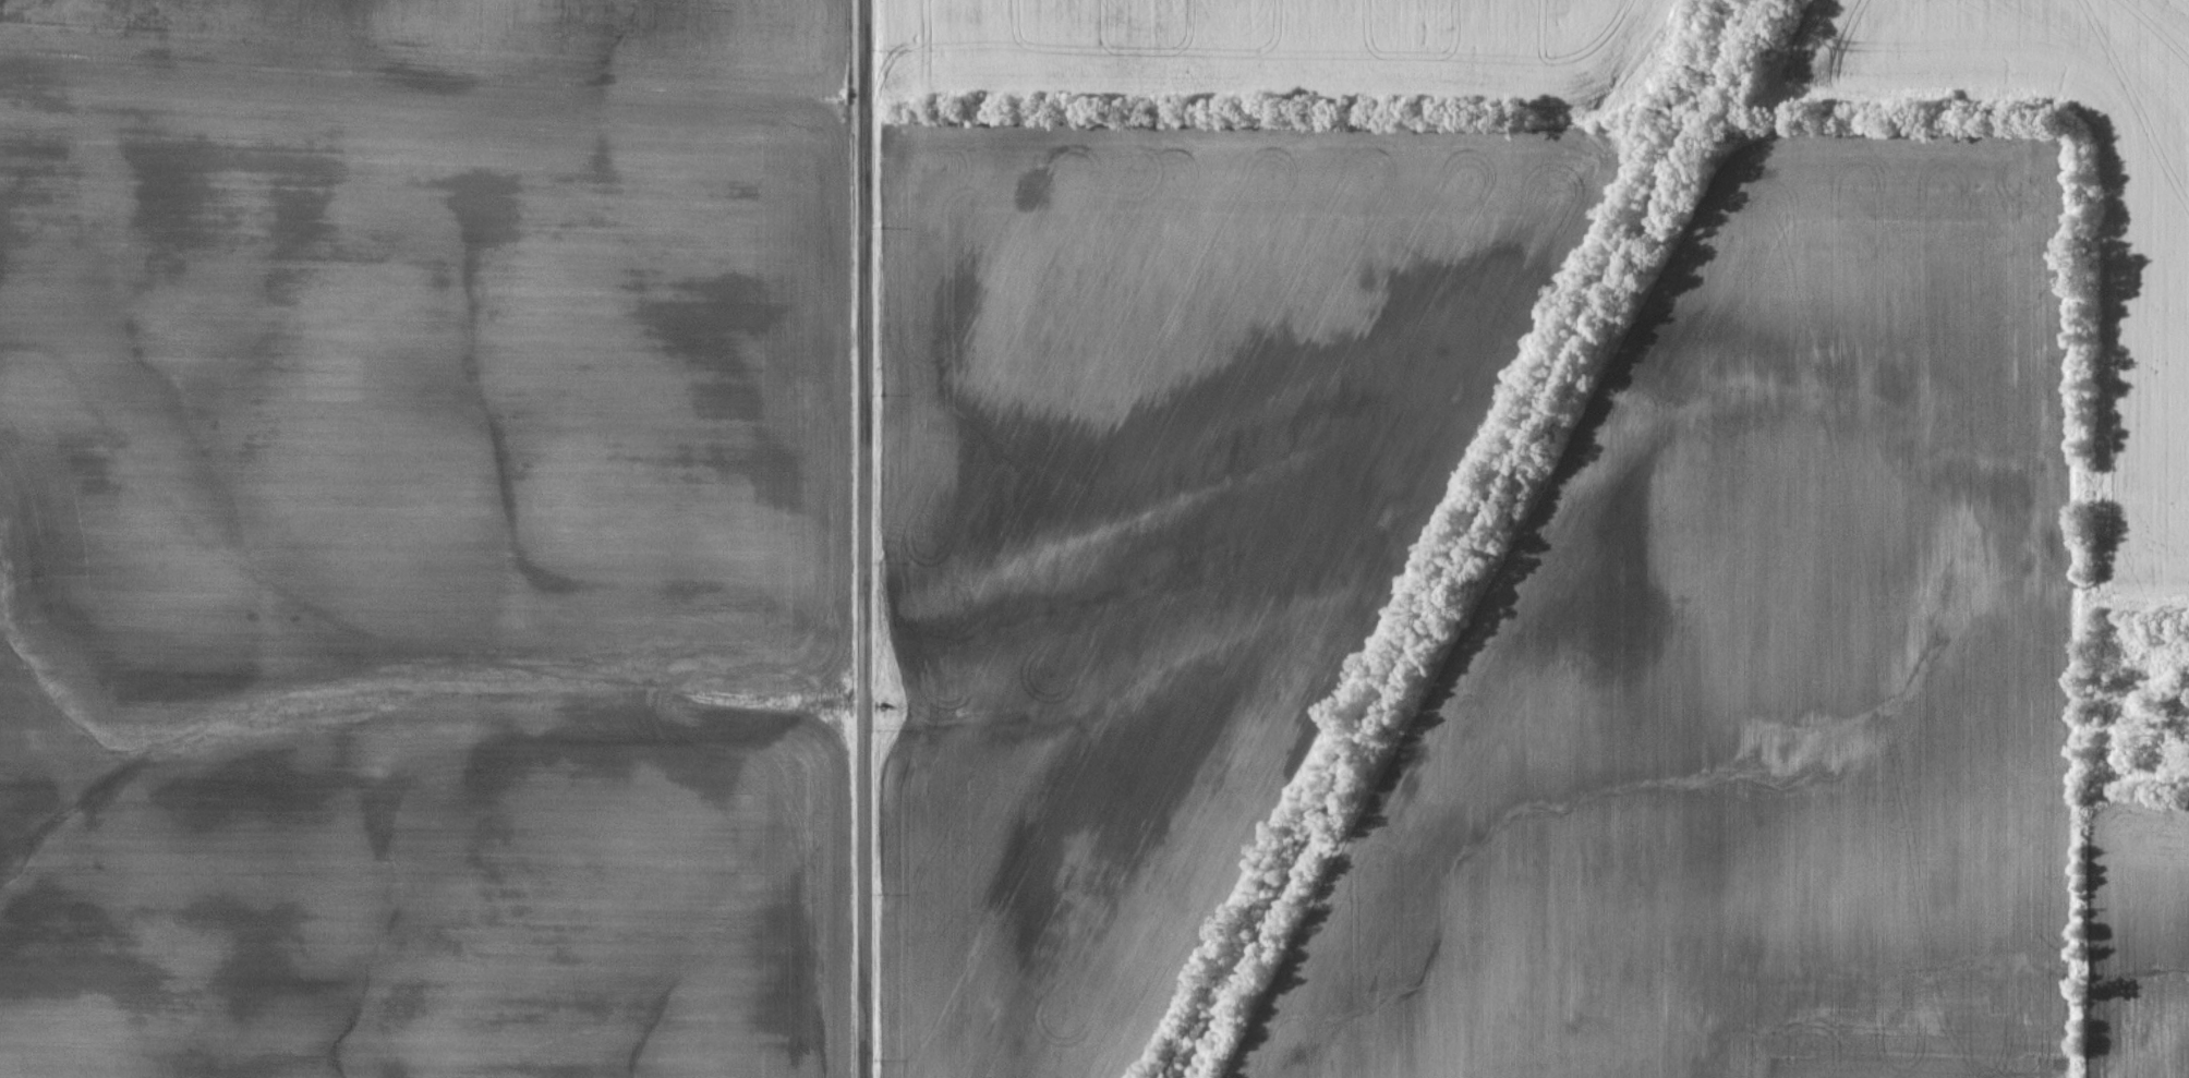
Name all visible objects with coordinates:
road: (866, 538)

